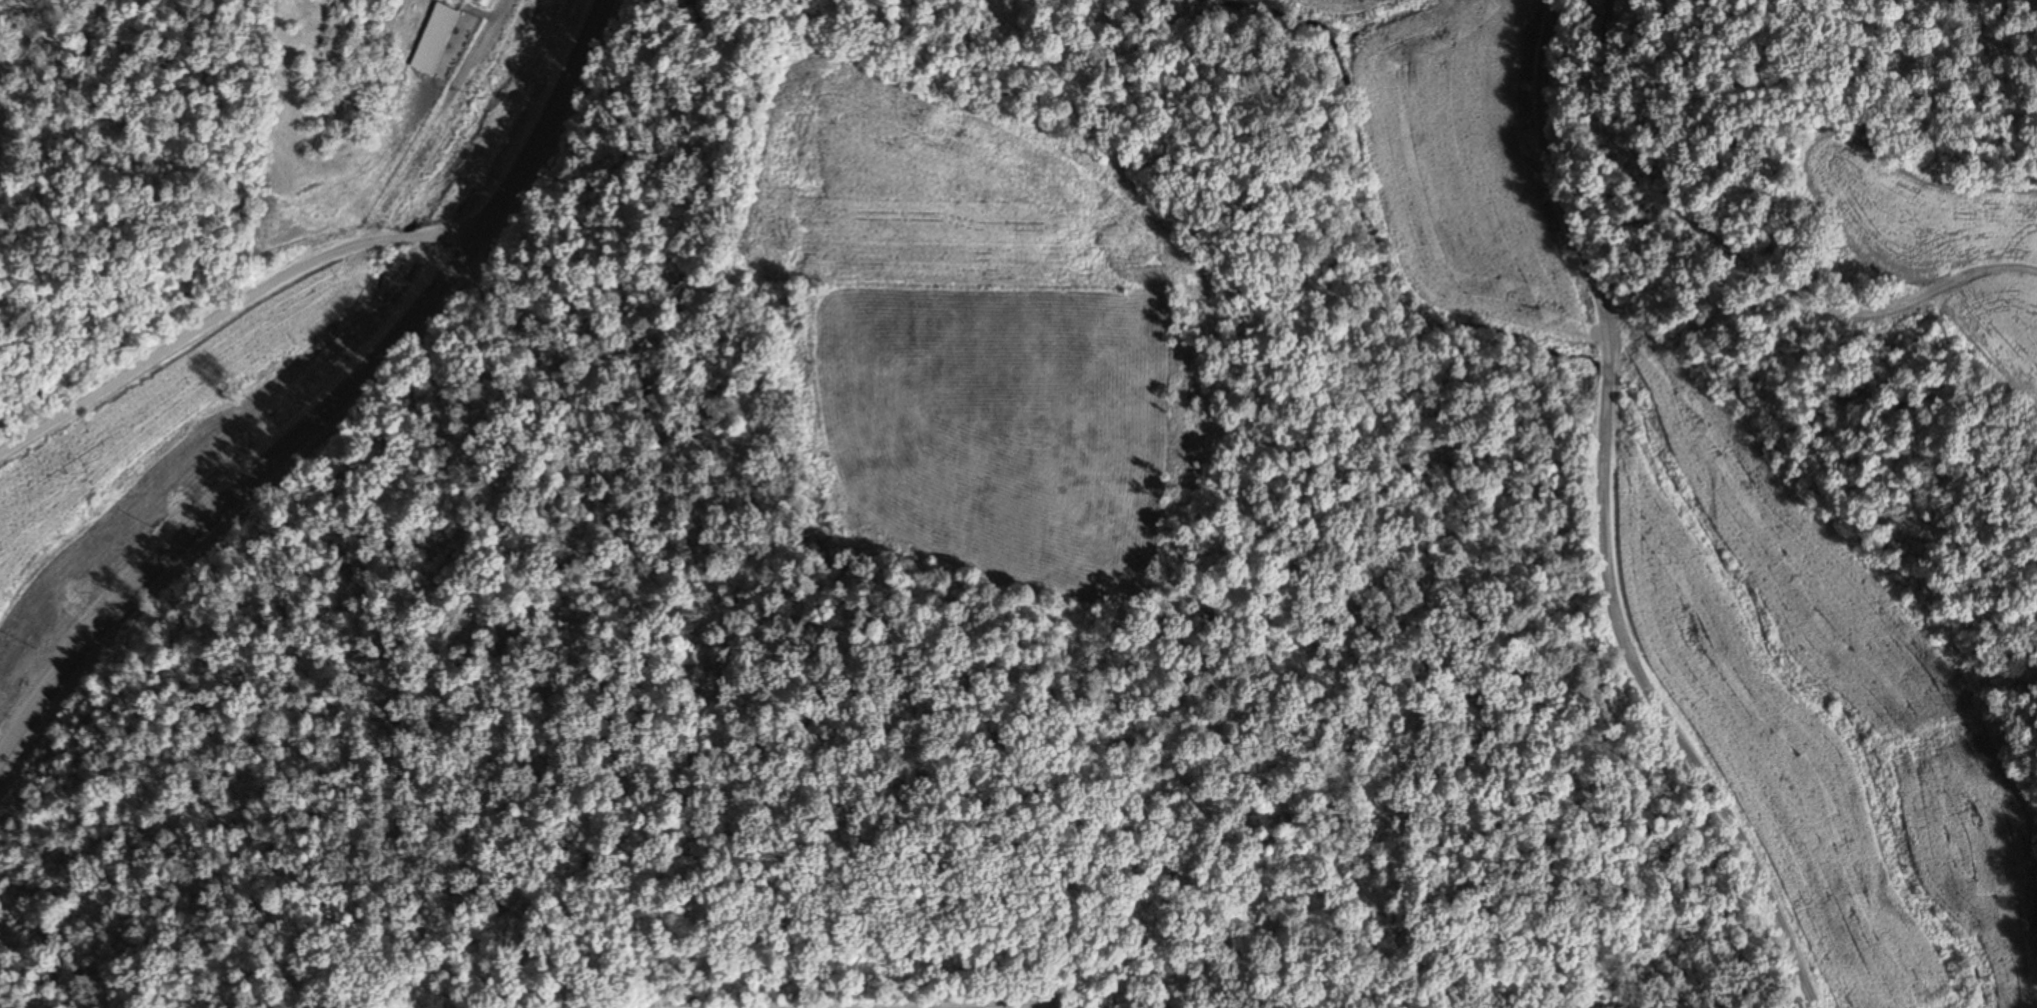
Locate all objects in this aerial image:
building: (485, 2)
building: (430, 38)
road: (230, 313)
road: (339, 406)
road: (1550, 522)

